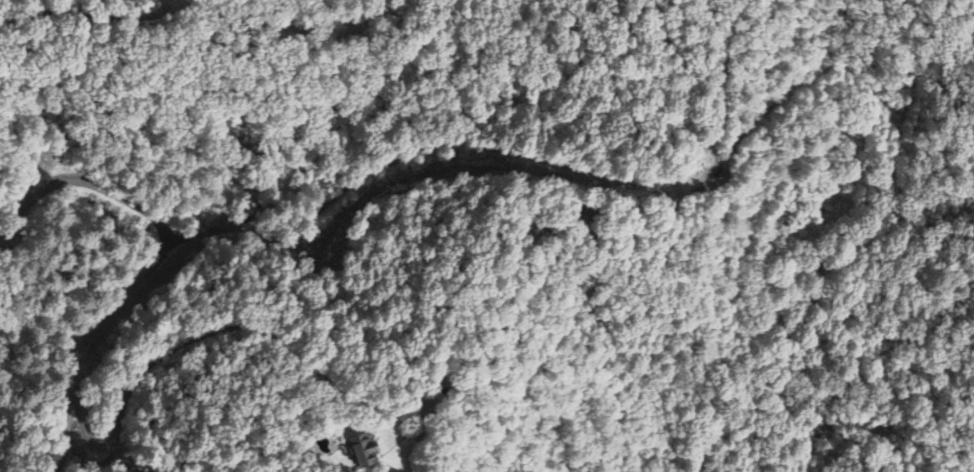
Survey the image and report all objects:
road: (171, 288)
building: (361, 451)

